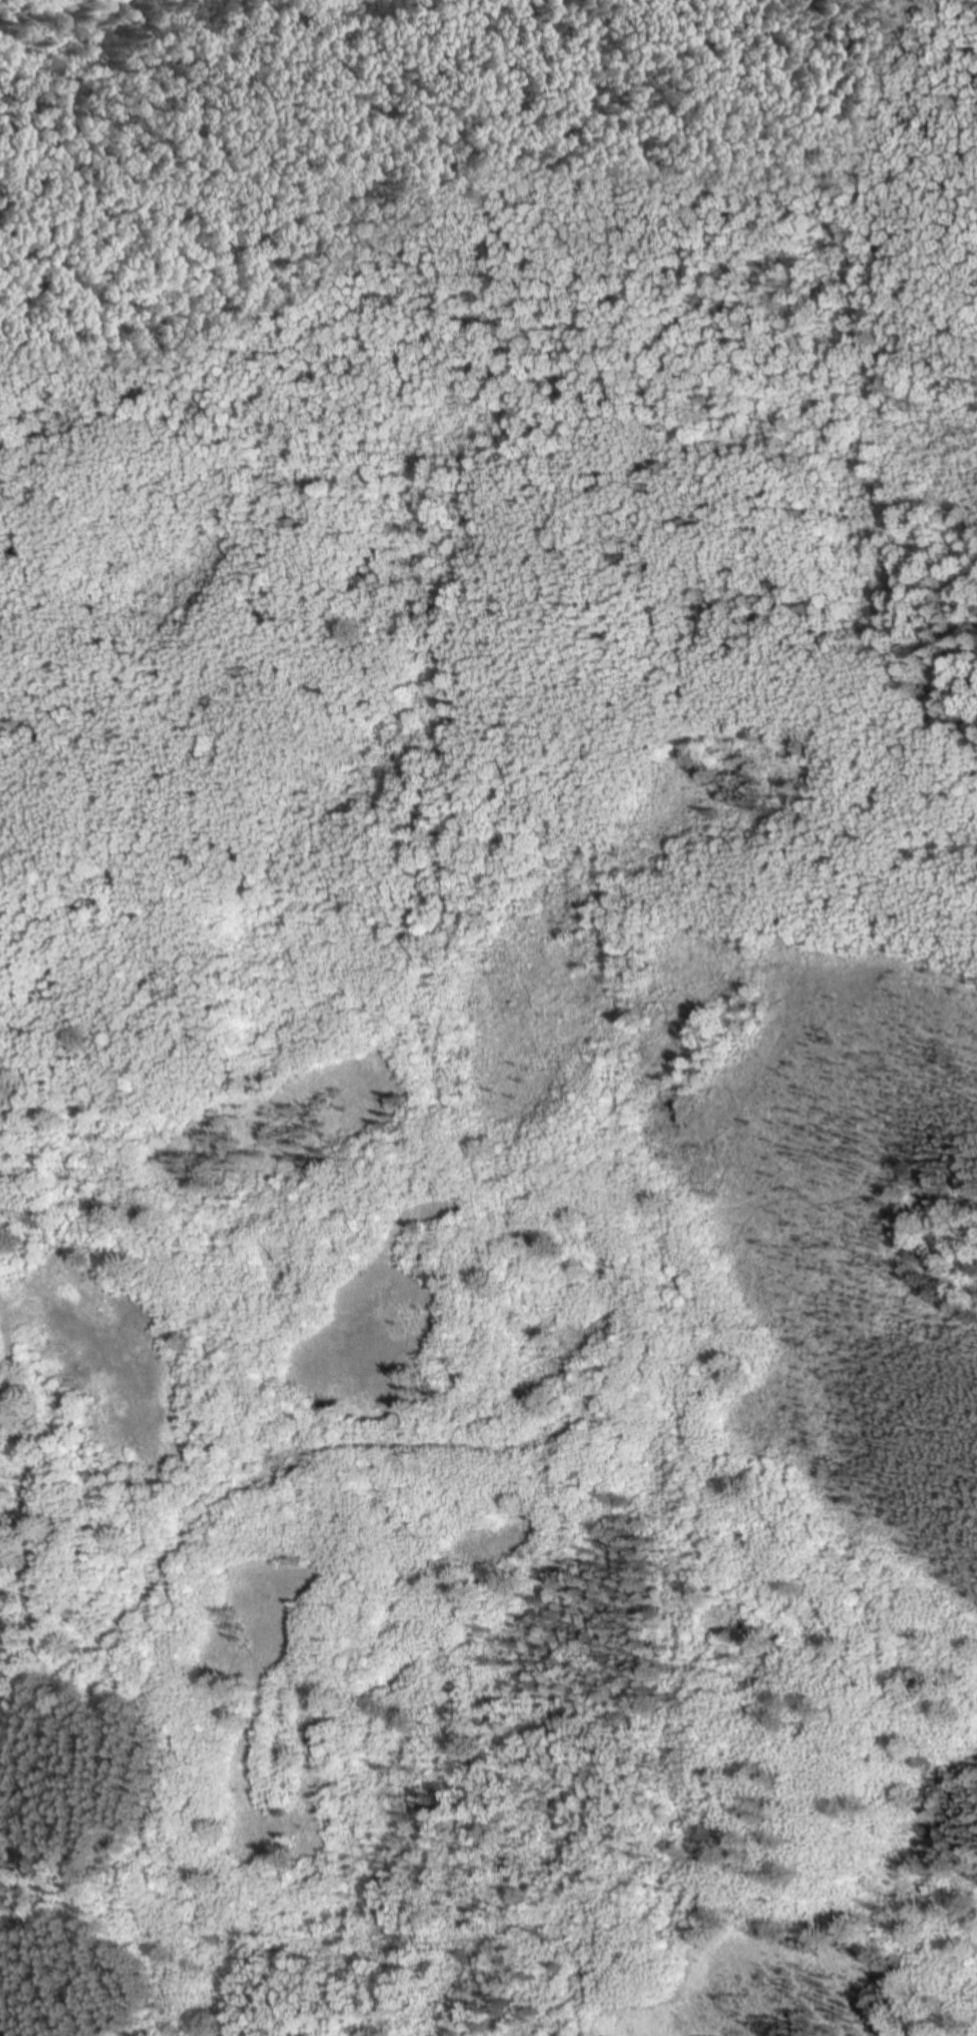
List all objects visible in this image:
road: (17, 1971)

